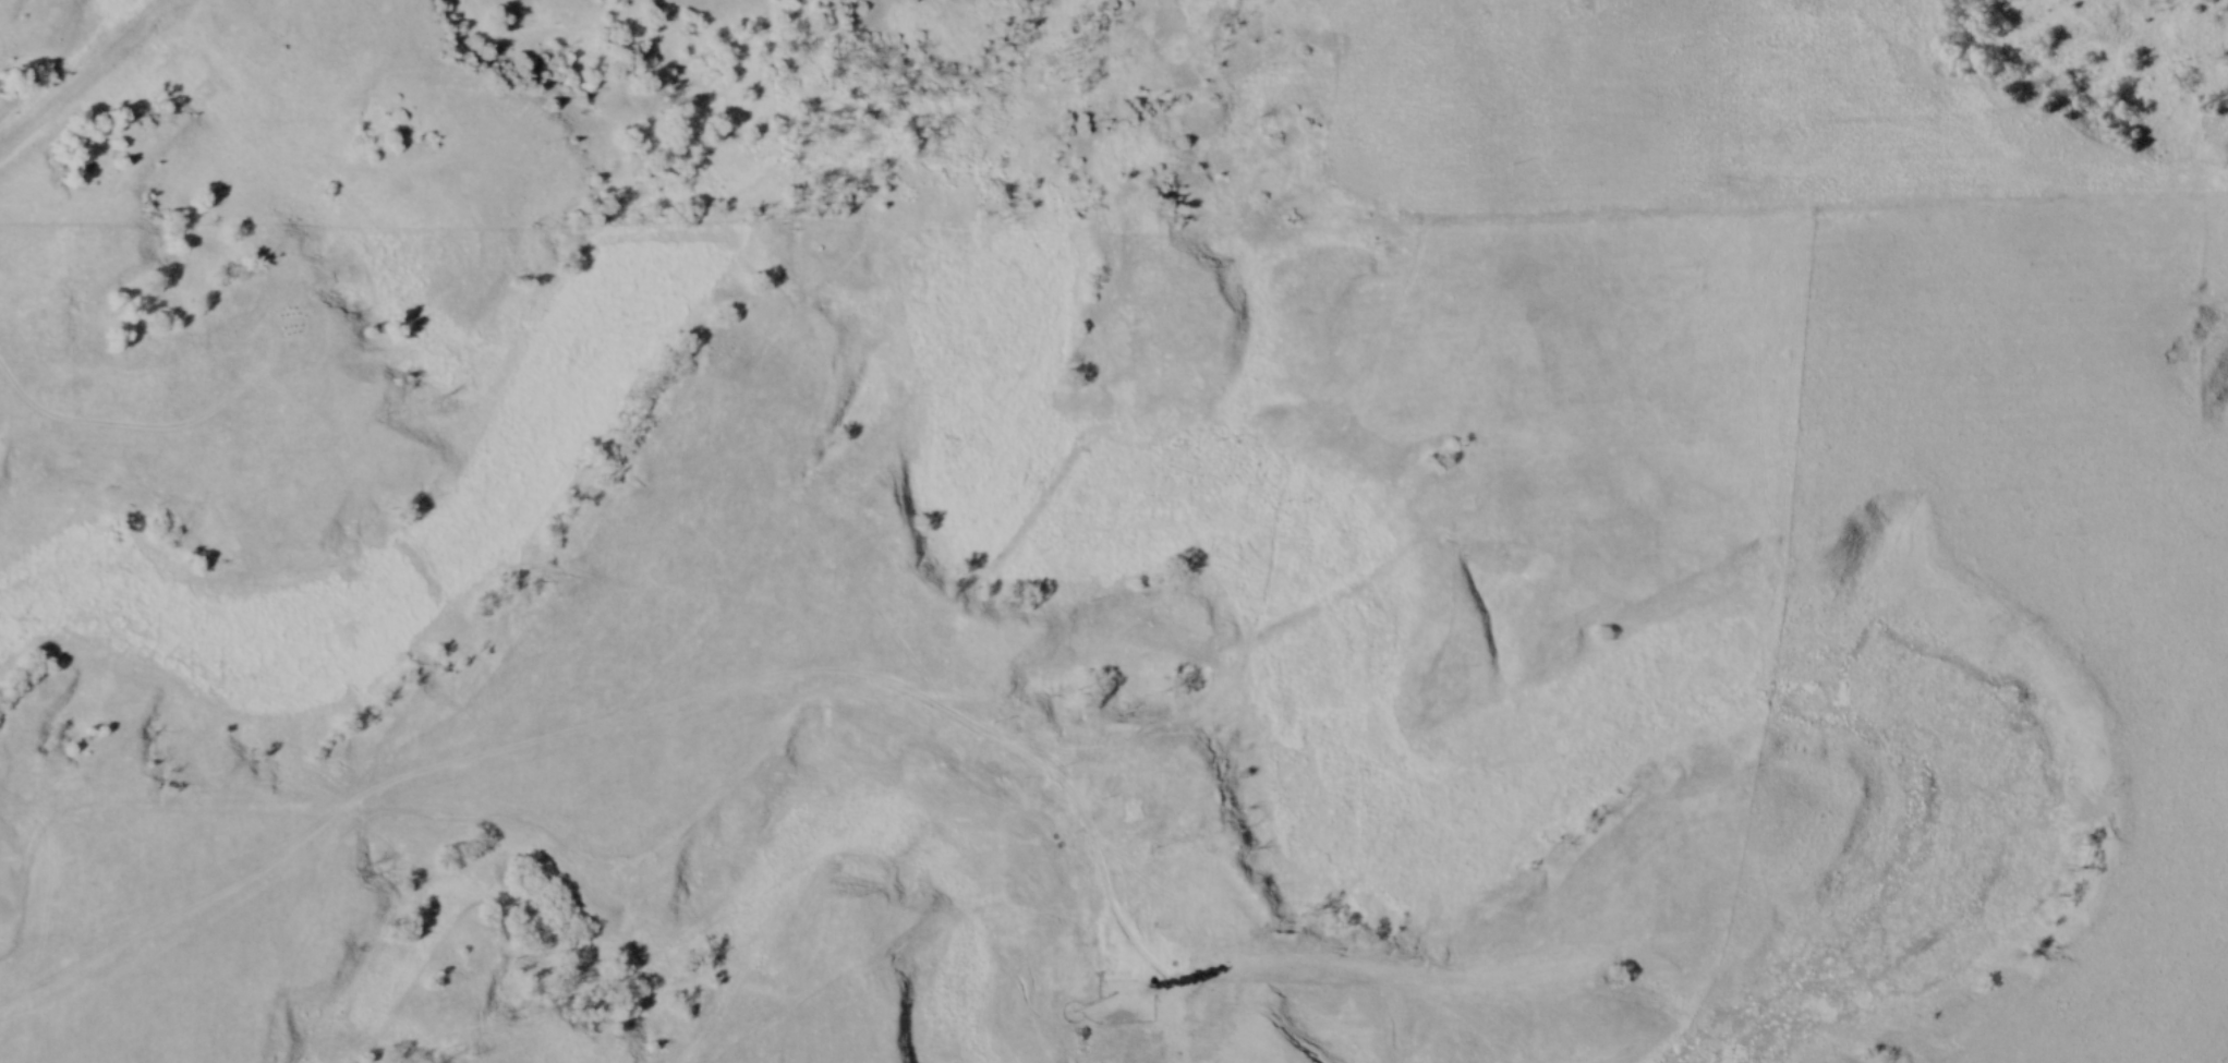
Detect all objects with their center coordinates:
building: (1131, 812)
building: (1080, 1044)

